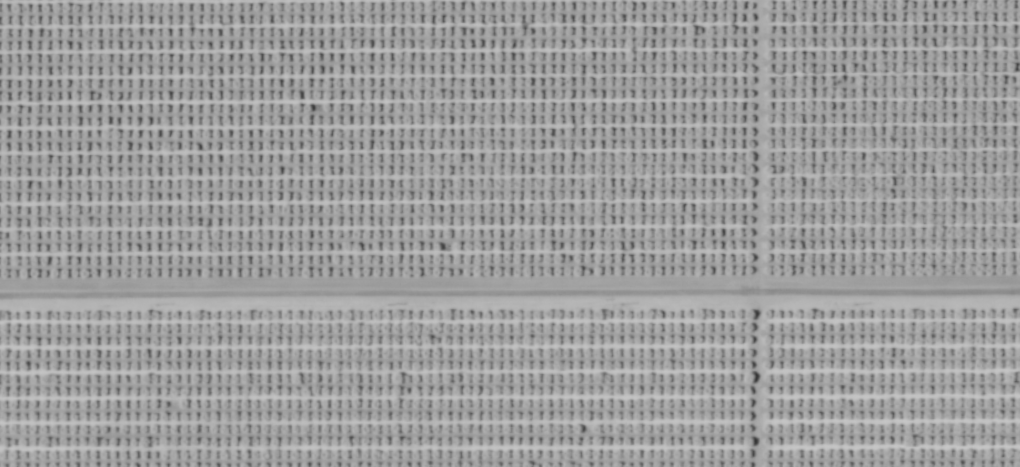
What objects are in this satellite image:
road: (753, 233)
road: (509, 292)

